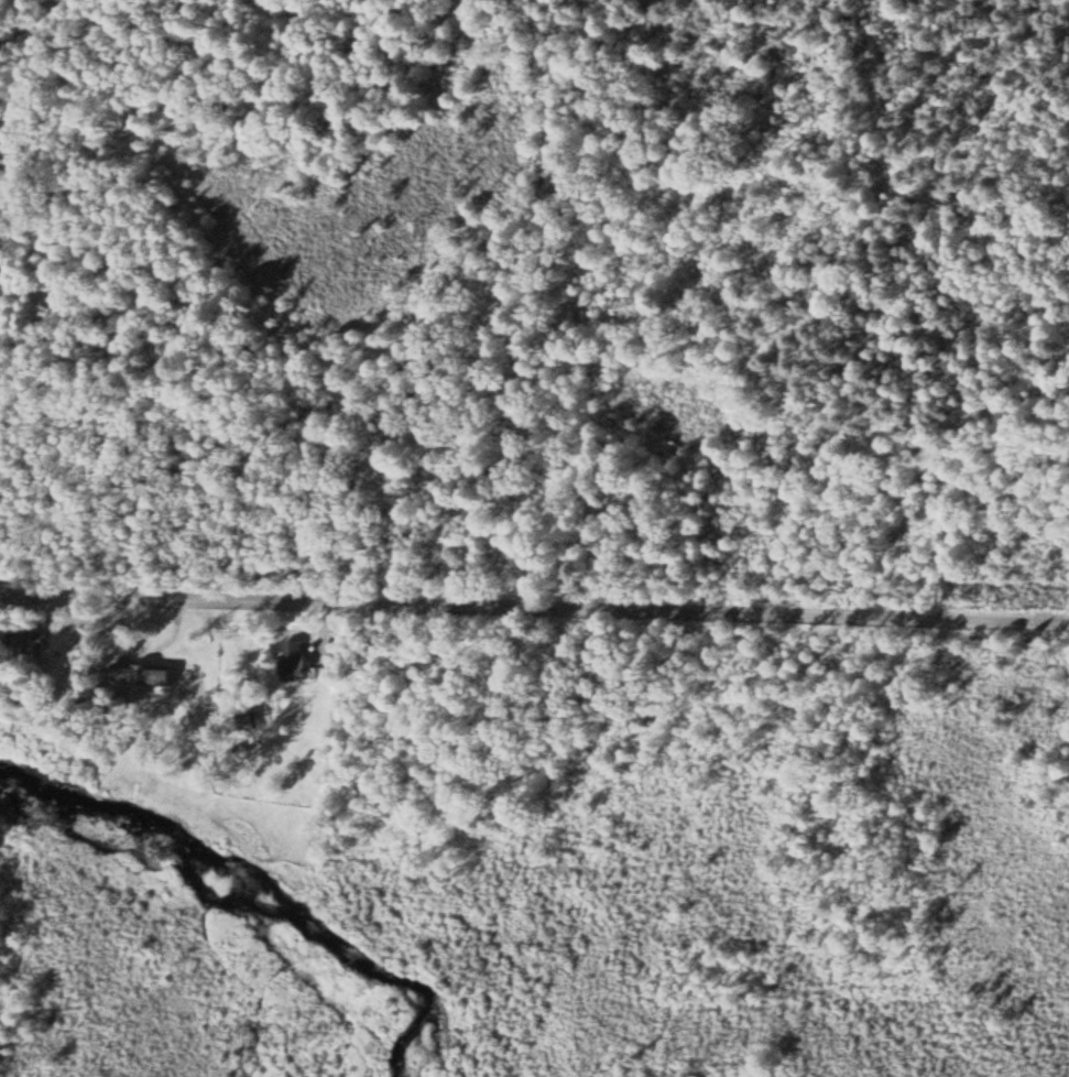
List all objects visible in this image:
road: (32, 62)
road: (534, 607)
building: (302, 661)
building: (151, 674)
river: (233, 884)

